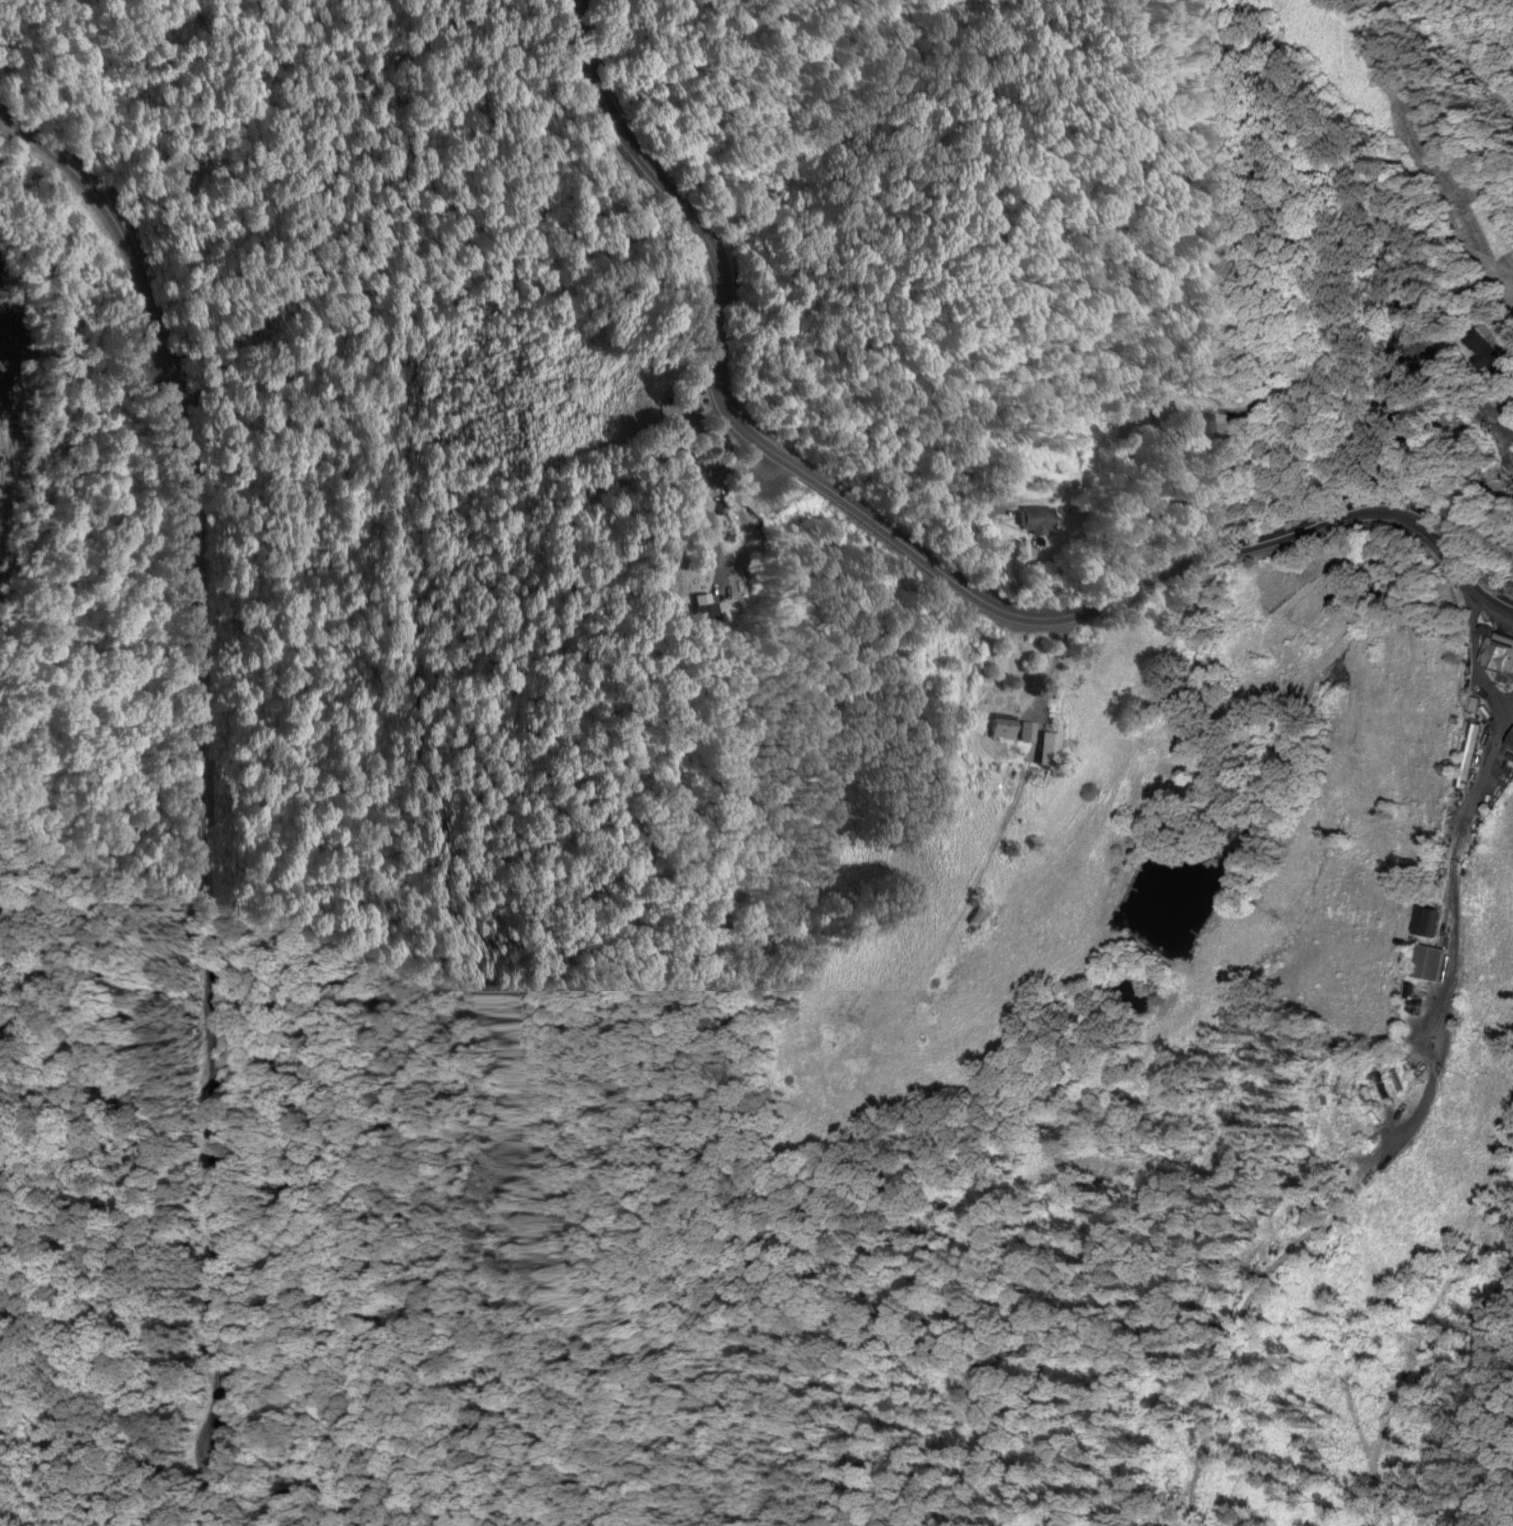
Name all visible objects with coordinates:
building: (1201, 424)
road: (1114, 480)
building: (1037, 518)
road: (910, 550)
building: (1499, 650)
building: (1013, 727)
building: (1512, 742)
building: (1049, 746)
building: (1467, 753)
road: (200, 785)
road: (1455, 873)
building: (980, 914)
building: (1430, 920)
building: (1433, 961)

